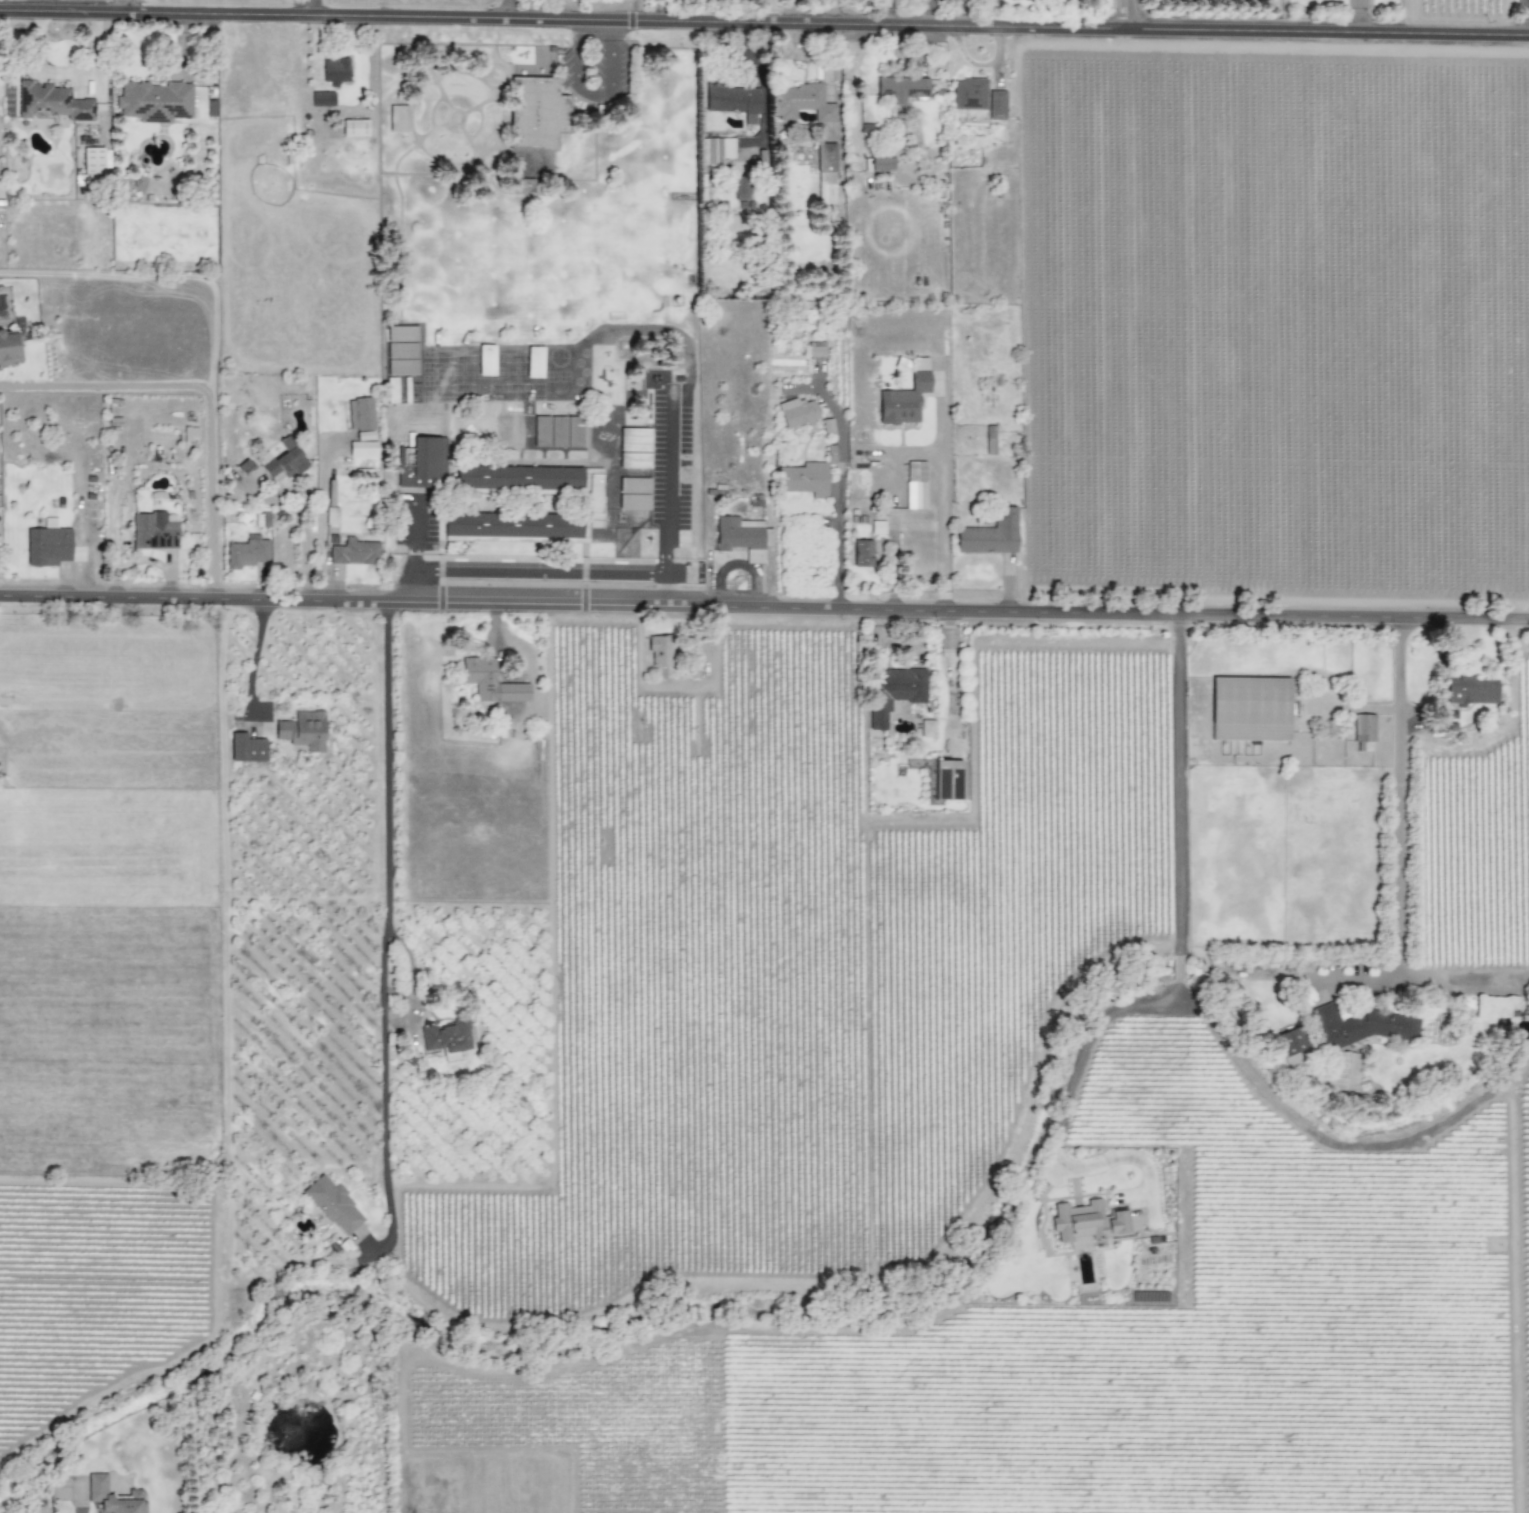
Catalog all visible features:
road: (128, 6)
road: (308, 8)
road: (508, 10)
road: (1129, 15)
road: (764, 24)
building: (334, 71)
road: (67, 72)
building: (902, 88)
building: (969, 94)
building: (322, 98)
building: (732, 100)
building: (155, 101)
building: (52, 102)
building: (801, 102)
building: (996, 104)
building: (397, 118)
building: (354, 128)
building: (716, 150)
building: (93, 163)
building: (880, 164)
building: (825, 174)
building: (741, 187)
building: (136, 189)
building: (815, 348)
building: (401, 350)
building: (534, 362)
building: (484, 368)
building: (391, 389)
road: (204, 391)
building: (903, 400)
building: (797, 412)
building: (360, 414)
building: (827, 425)
building: (541, 429)
building: (557, 431)
building: (573, 432)
building: (364, 435)
building: (990, 439)
building: (634, 448)
building: (362, 449)
building: (285, 461)
building: (420, 464)
building: (804, 479)
road: (838, 484)
building: (915, 485)
building: (633, 493)
road: (670, 498)
building: (594, 501)
road: (941, 501)
building: (261, 519)
building: (877, 527)
building: (153, 531)
road: (305, 532)
building: (990, 534)
building: (742, 536)
building: (47, 546)
building: (354, 552)
building: (246, 553)
building: (862, 553)
road: (536, 572)
road: (411, 585)
road: (660, 590)
road: (764, 608)
building: (659, 651)
road: (254, 656)
building: (489, 681)
building: (892, 690)
building: (1461, 699)
building: (1249, 709)
building: (927, 728)
building: (302, 730)
building: (1363, 730)
building: (246, 748)
building: (947, 780)
road: (1177, 784)
road: (1396, 837)
road: (385, 937)
road: (1177, 971)
building: (1360, 1026)
building: (445, 1038)
building: (1293, 1046)
building: (1344, 1071)
road: (1061, 1114)
road: (1331, 1143)
building: (333, 1205)
building: (1086, 1221)
road: (1512, 1291)
building: (96, 1493)

